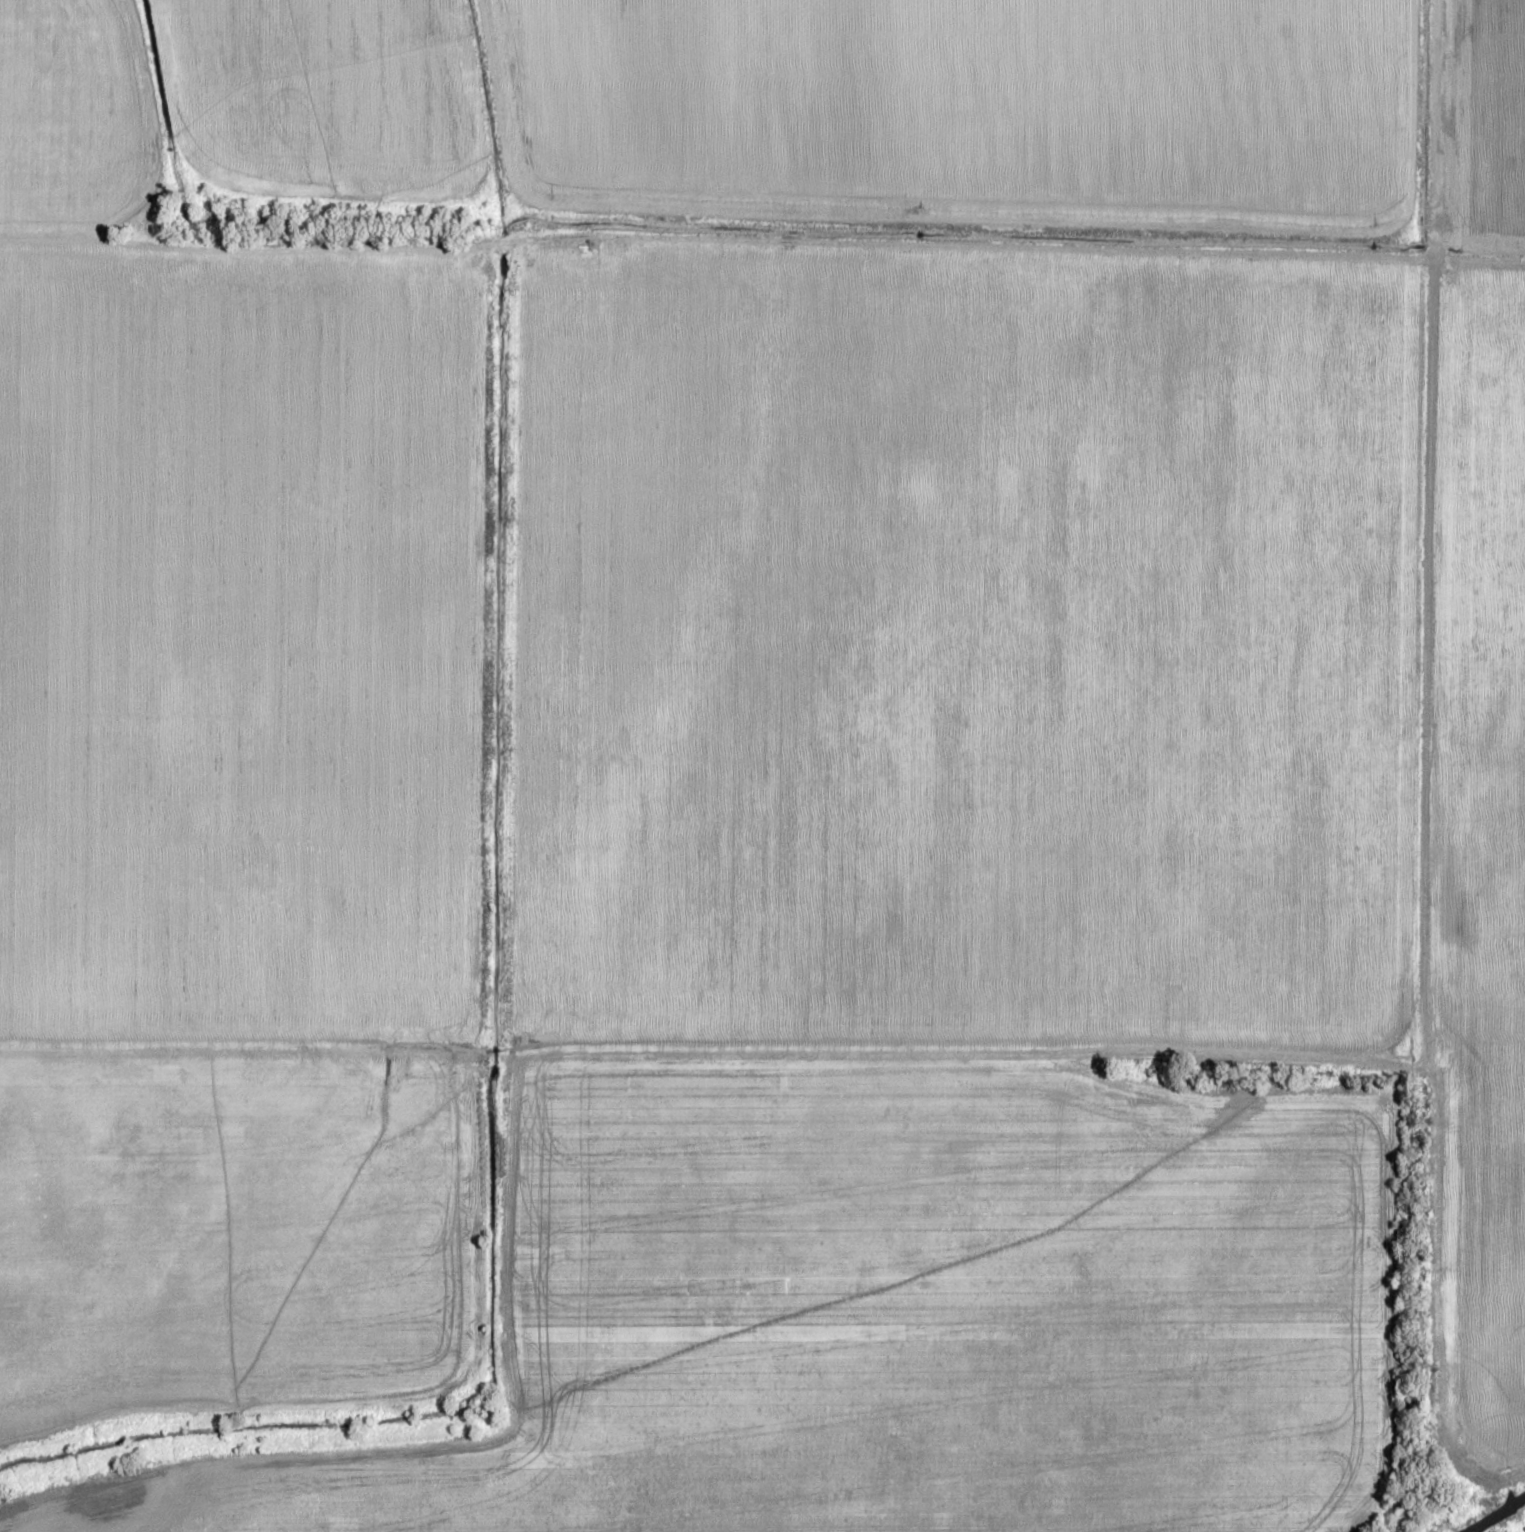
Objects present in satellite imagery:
road: (153, 175)
road: (1422, 531)

